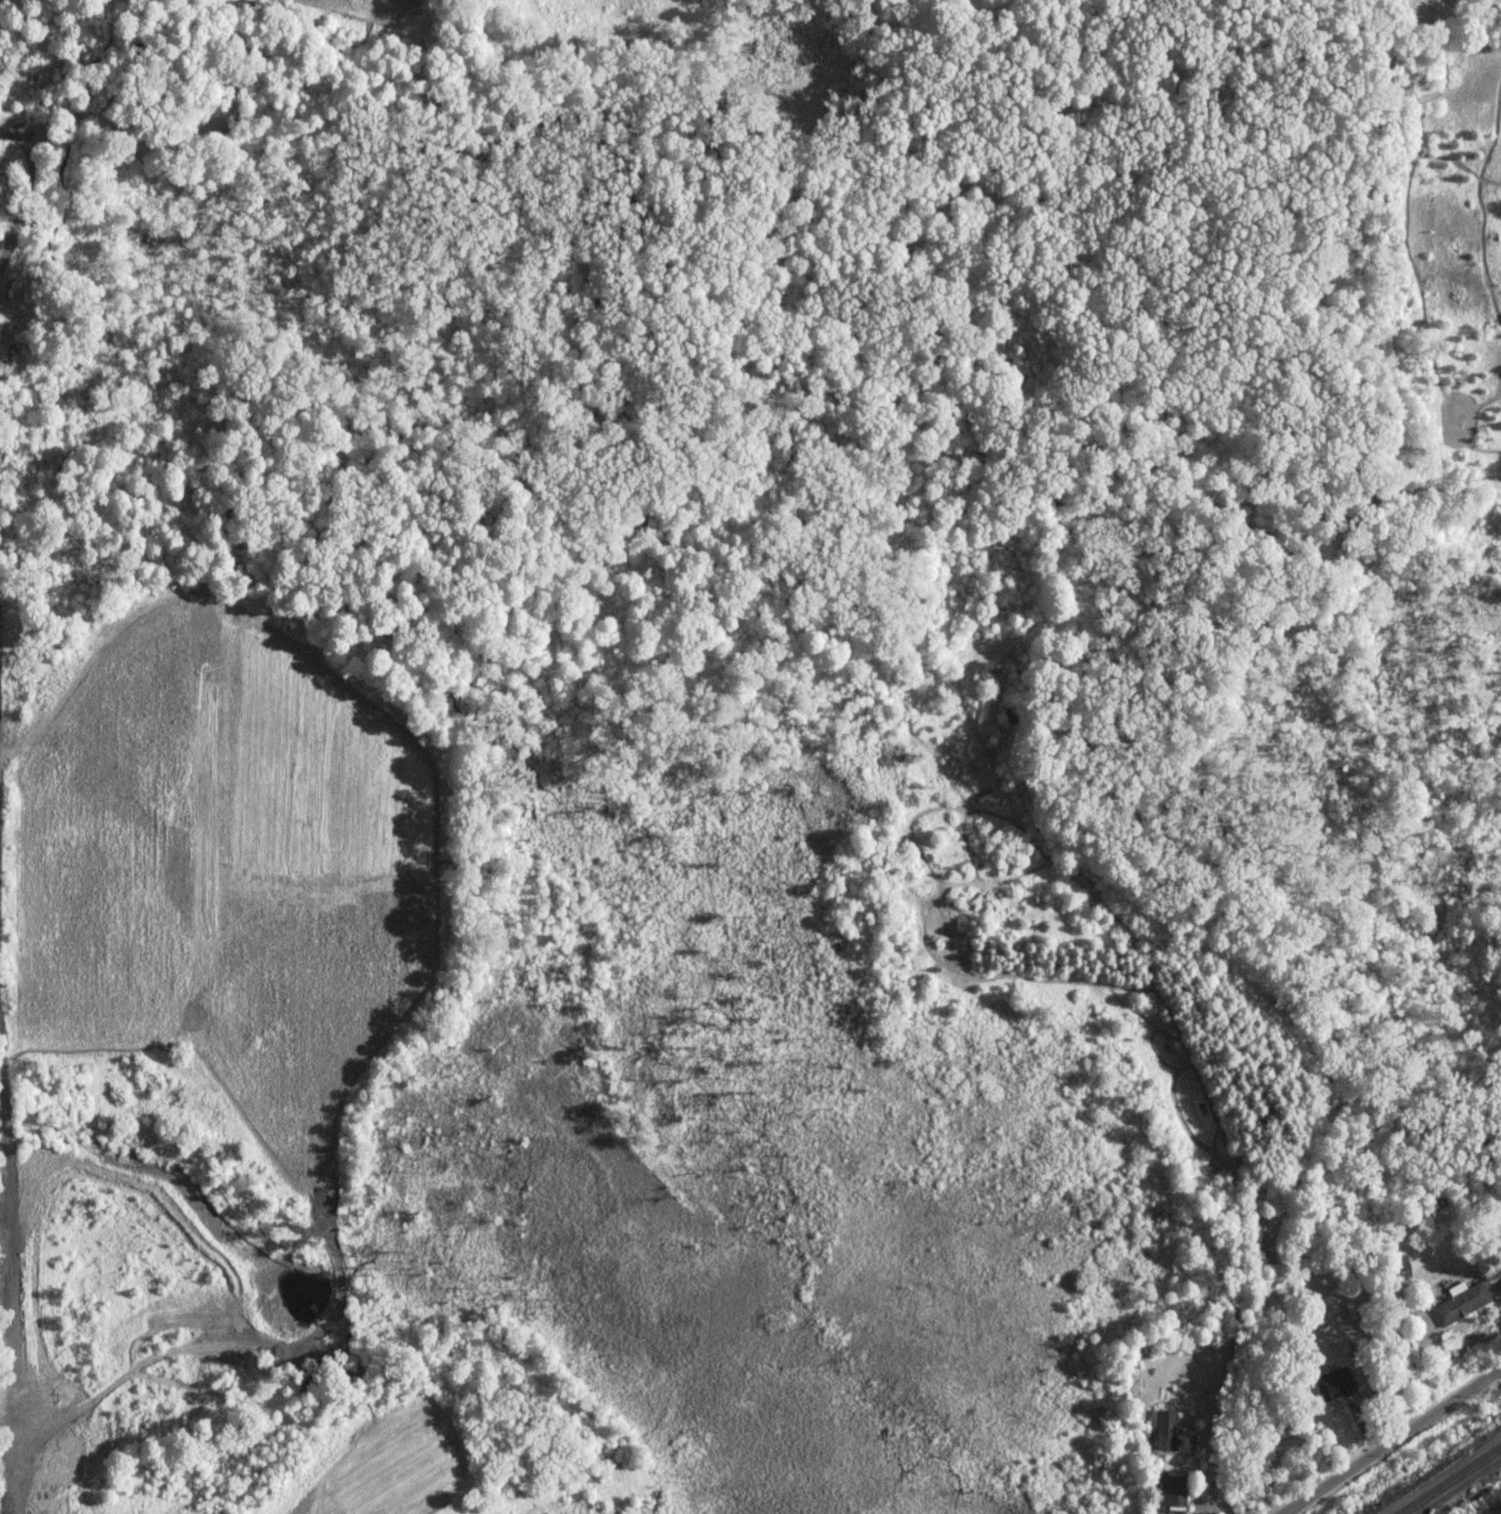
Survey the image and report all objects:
road: (17, 185)
crop: (236, 870)
building: (1403, 1269)
building: (1460, 1305)
road: (5, 1322)
building: (1336, 1385)
road: (1390, 1440)
building: (1172, 1442)
crop: (387, 1464)
railway: (1444, 1477)
building: (1174, 1492)

